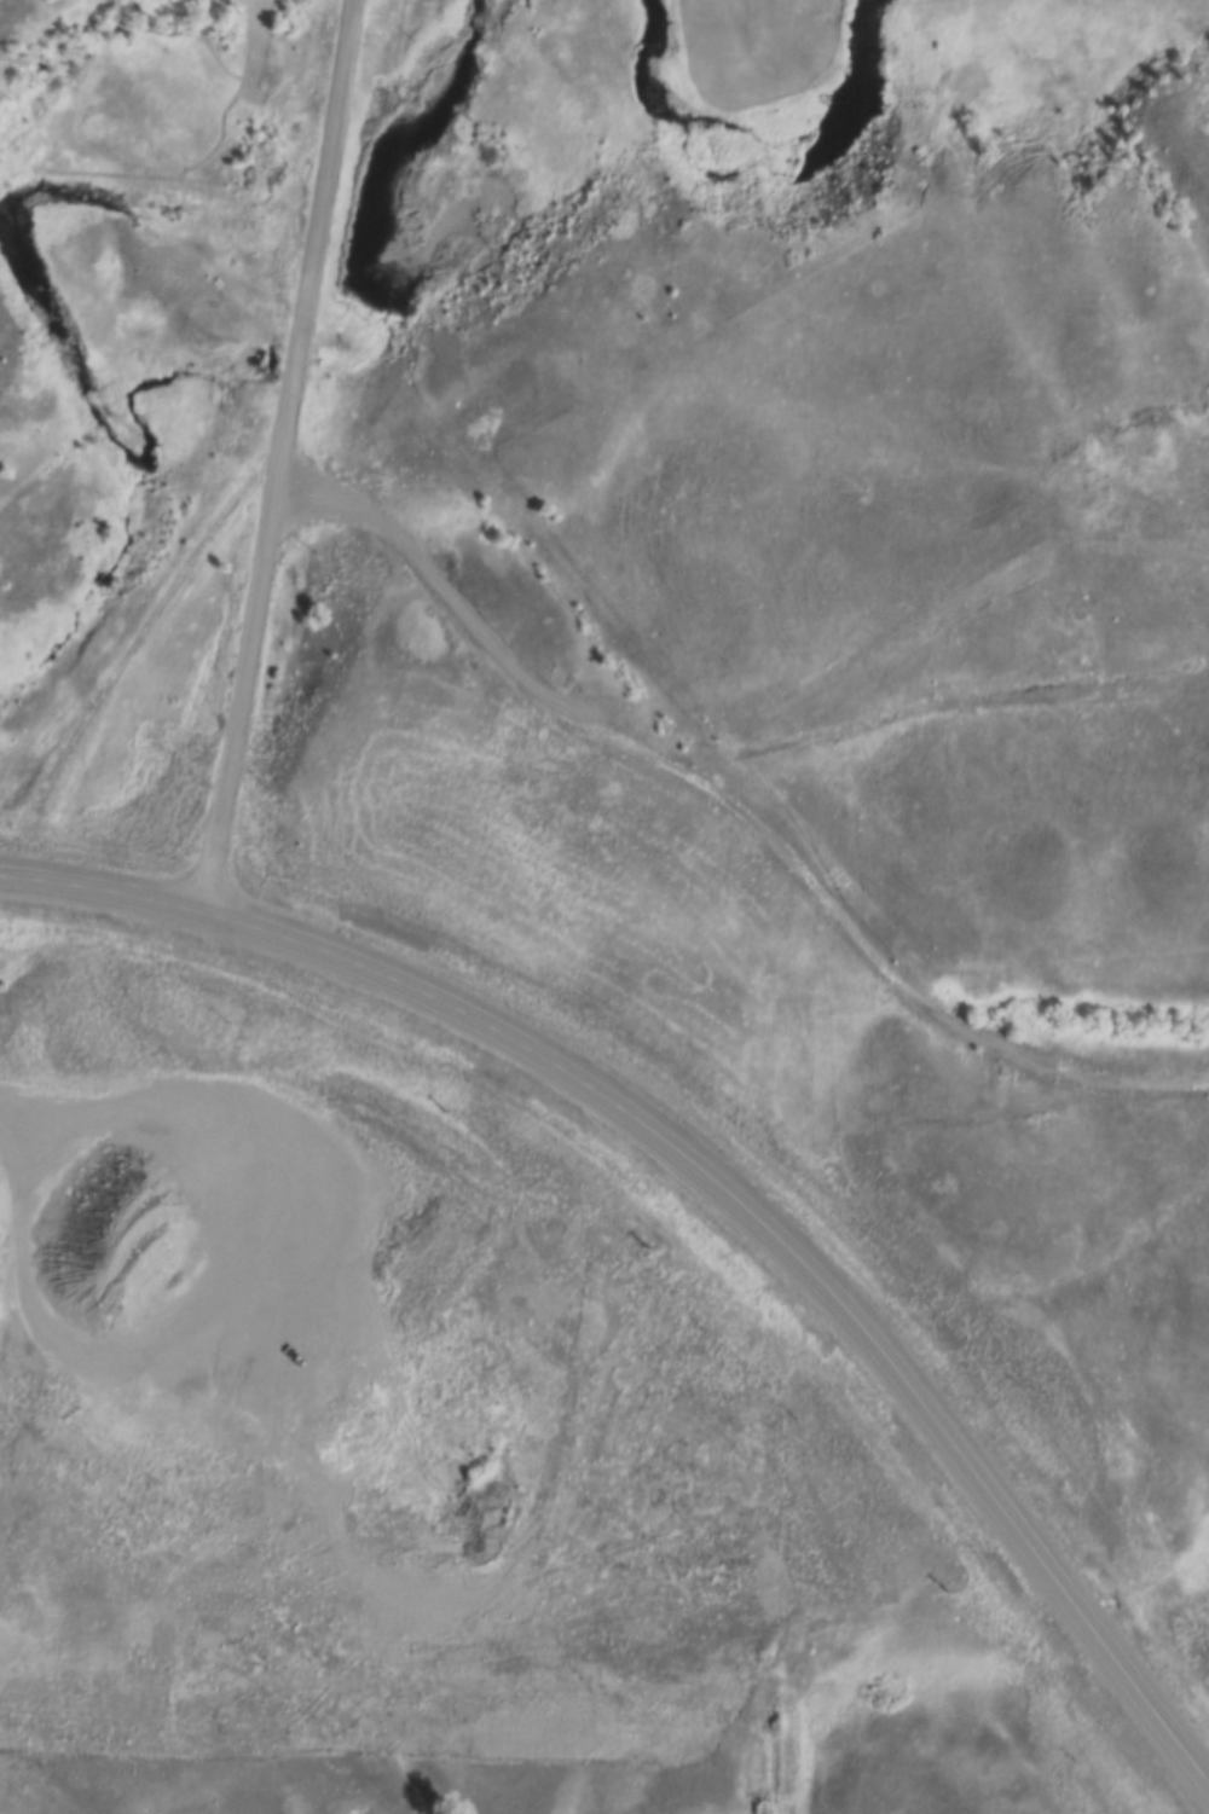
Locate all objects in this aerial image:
road: (282, 459)
road: (128, 656)
road: (734, 812)
road: (711, 1183)
road: (253, 1488)

